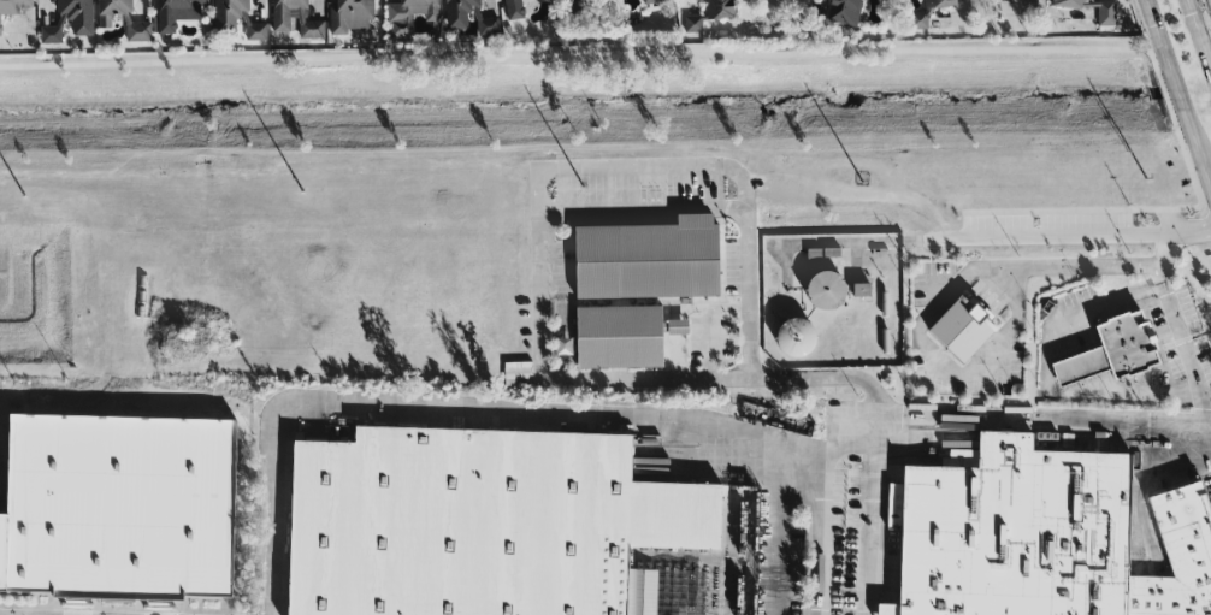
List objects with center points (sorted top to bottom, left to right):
building: (646, 0)
building: (937, 4)
building: (12, 6)
building: (513, 7)
building: (716, 8)
building: (1088, 8)
building: (111, 11)
building: (457, 12)
building: (841, 12)
building: (172, 13)
building: (407, 14)
building: (352, 16)
road: (1152, 17)
road: (1191, 17)
building: (294, 18)
building: (235, 19)
building: (67, 20)
building: (916, 20)
building: (695, 23)
building: (136, 32)
road: (1204, 54)
road: (1177, 87)
road: (1204, 158)
road: (852, 188)
road: (645, 208)
road: (1080, 229)
road: (847, 240)
parking lot: (556, 250)
road: (540, 252)
building: (816, 253)
building: (648, 259)
building: (822, 289)
building: (862, 289)
road: (943, 301)
road: (677, 306)
parking lot: (719, 319)
road: (1177, 321)
parking lot: (917, 324)
building: (679, 326)
building: (961, 327)
building: (619, 336)
building: (796, 336)
parking lot: (1180, 339)
road: (710, 341)
building: (1110, 350)
road: (1079, 355)
building: (518, 375)
road: (651, 418)
parking lot: (1207, 485)
building: (118, 508)
road: (874, 514)
building: (475, 521)
parking lot: (859, 527)
road: (782, 528)
road: (822, 533)
building: (1015, 533)
building: (1176, 558)
road: (890, 583)
building: (663, 591)
road: (2, 614)
road: (12, 614)

